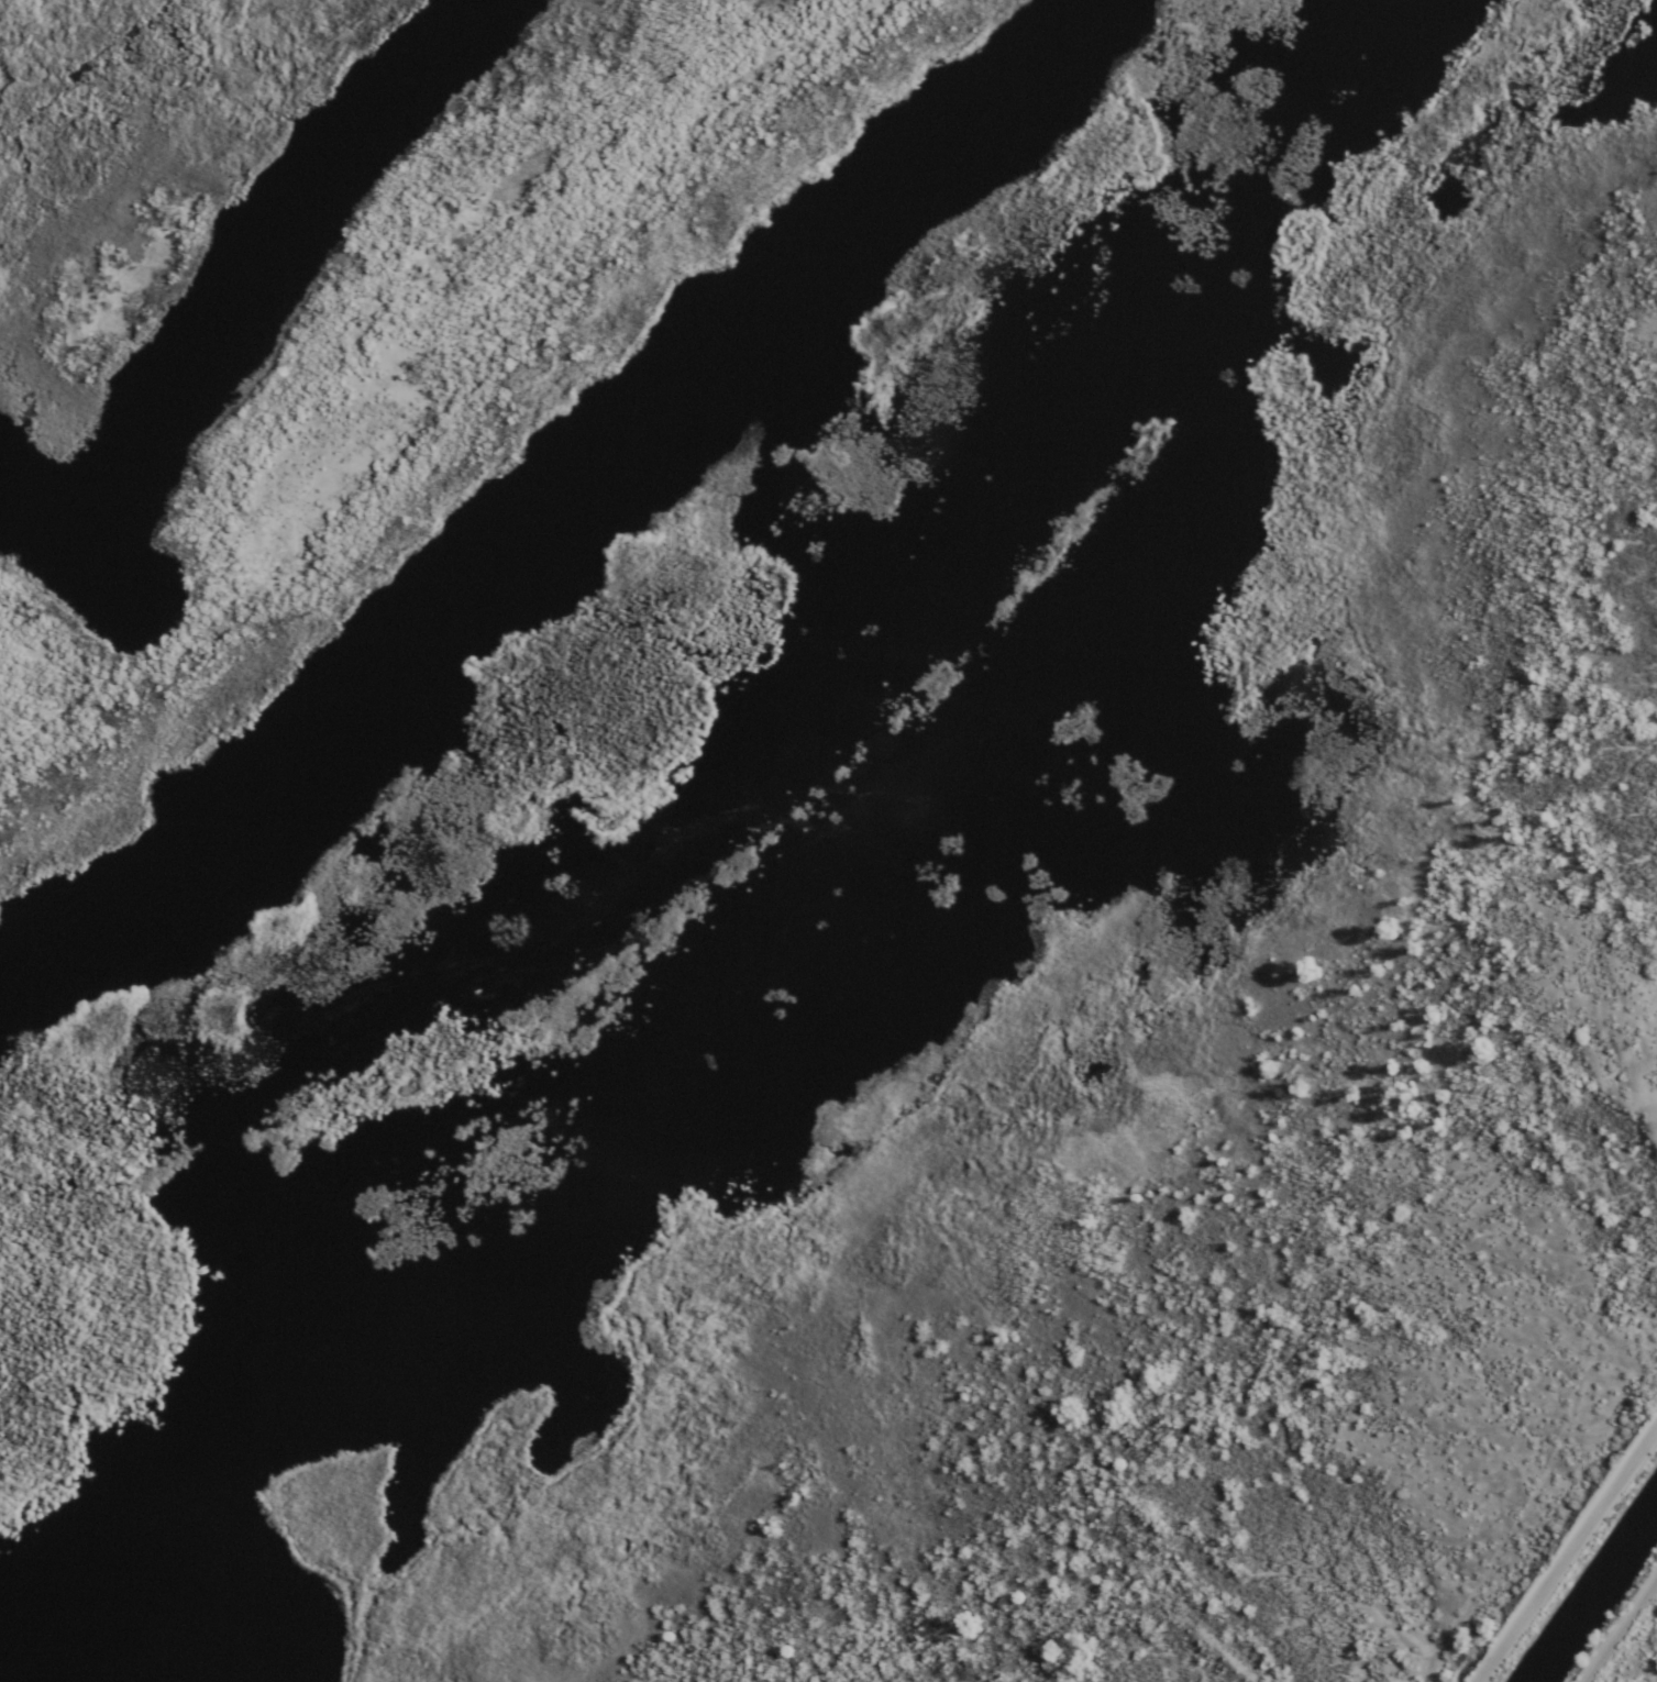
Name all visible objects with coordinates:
road: (1569, 1556)
river: (1597, 1594)

